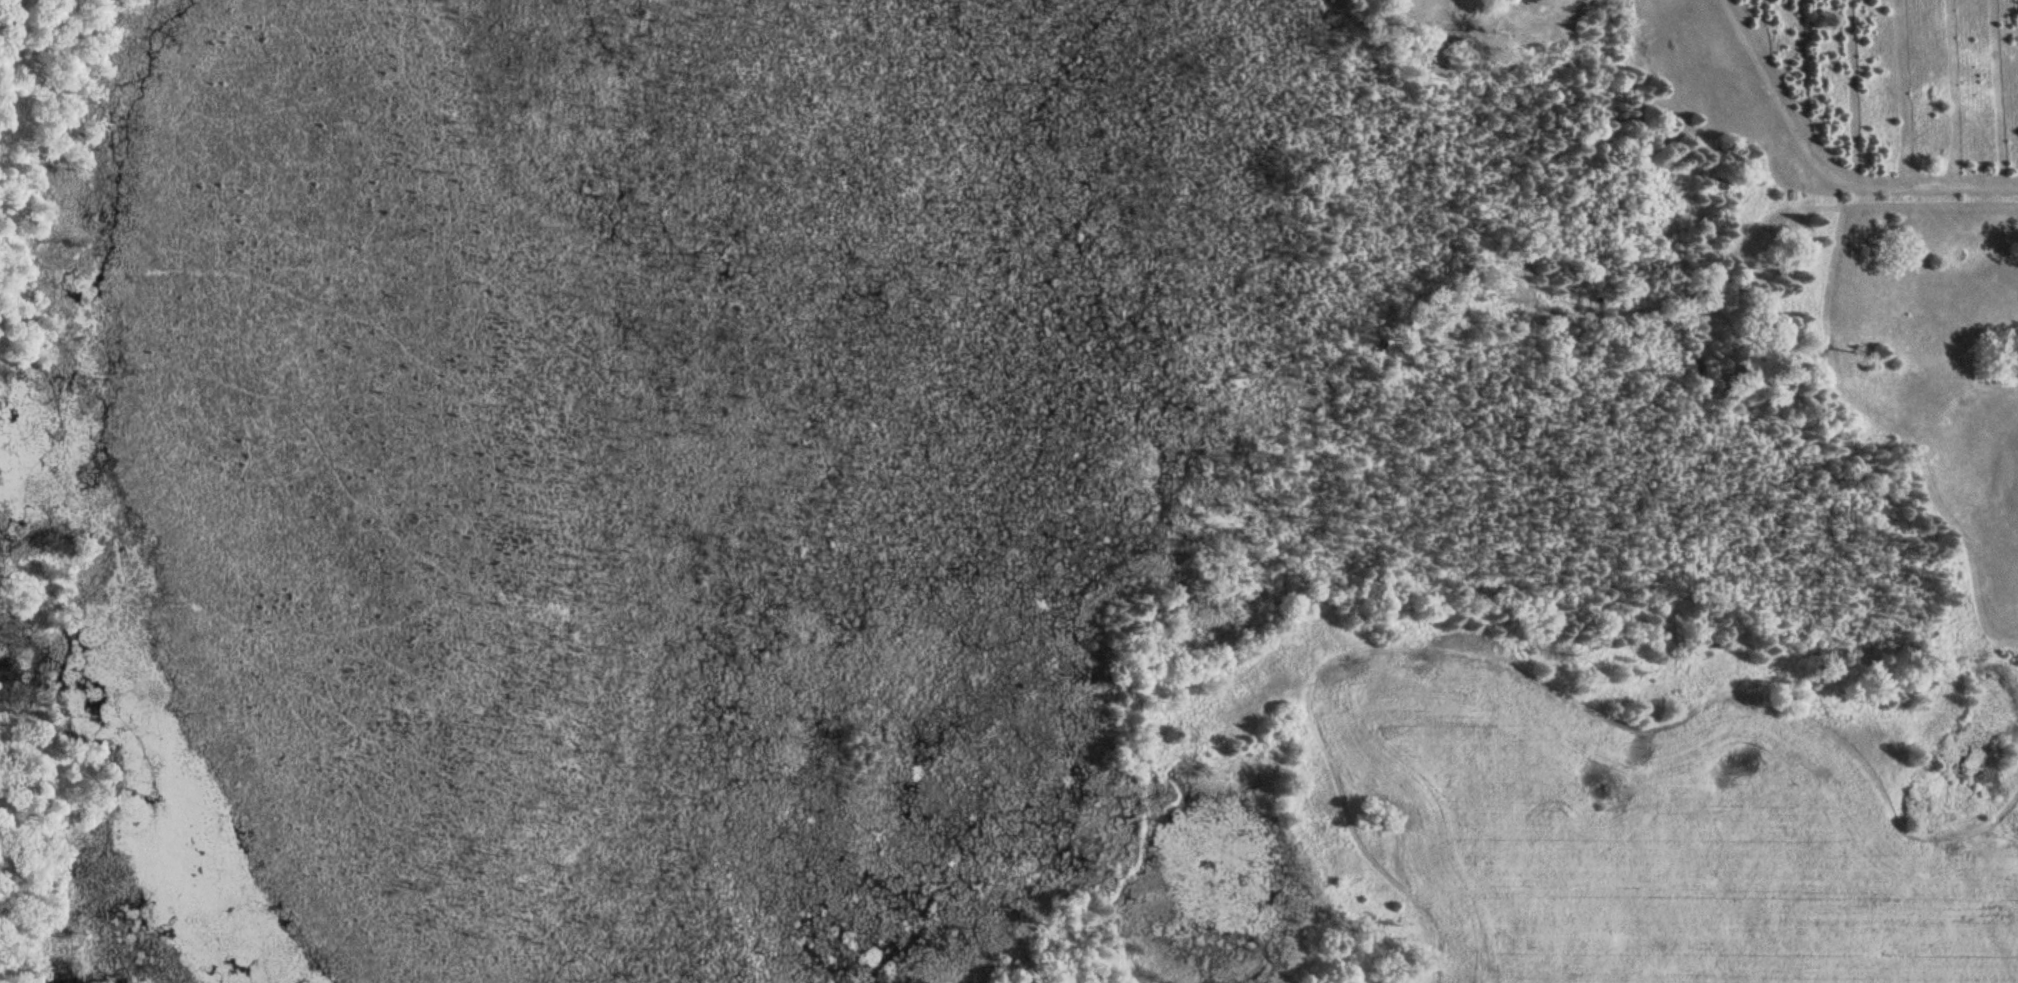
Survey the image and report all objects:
building: (1527, 0)
road: (1823, 171)

